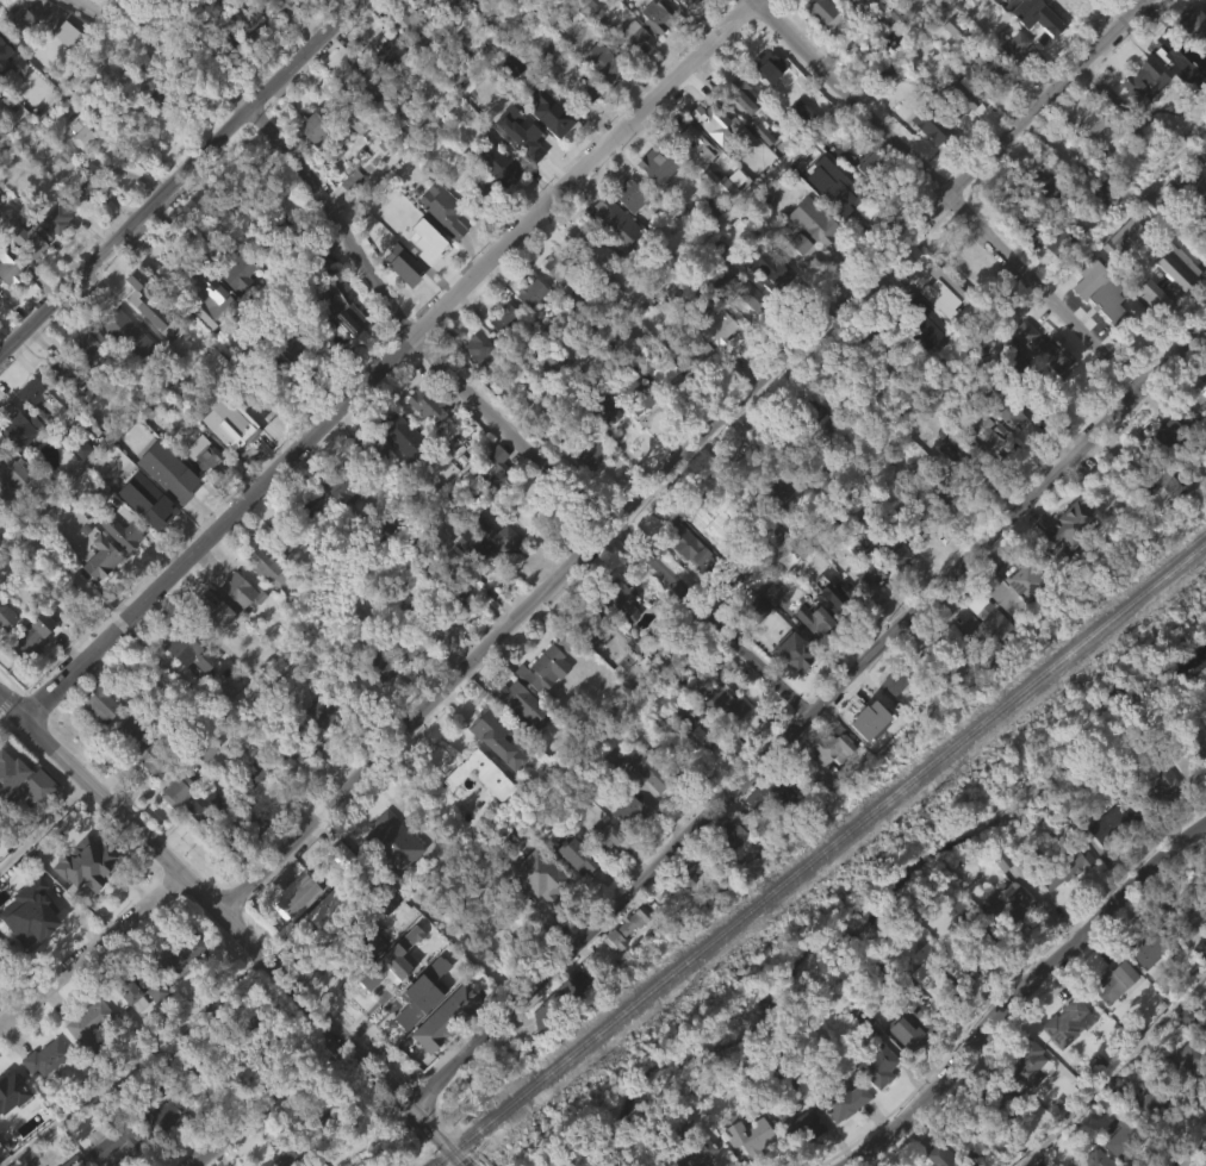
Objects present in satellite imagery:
building: (89, 4)
building: (689, 4)
building: (284, 5)
building: (1068, 5)
building: (445, 6)
building: (1083, 6)
building: (881, 7)
building: (300, 10)
building: (508, 13)
building: (658, 15)
building: (826, 15)
building: (248, 19)
building: (19, 20)
building: (477, 20)
building: (677, 20)
building: (1039, 21)
building: (848, 24)
building: (1193, 25)
building: (273, 29)
building: (417, 29)
building: (67, 33)
building: (436, 33)
building: (1059, 35)
building: (636, 36)
building: (230, 39)
building: (590, 48)
building: (1017, 49)
building: (4, 50)
building: (390, 50)
building: (820, 50)
building: (245, 54)
building: (653, 54)
building: (1033, 60)
building: (406, 62)
building: (604, 63)
building: (946, 64)
building: (769, 66)
building: (1189, 66)
building: (63, 71)
building: (989, 71)
building: (633, 73)
building: (224, 75)
building: (362, 80)
building: (1145, 80)
building: (1012, 82)
building: (158, 86)
building: (1, 87)
building: (385, 87)
building: (547, 92)
building: (586, 92)
building: (742, 94)
building: (962, 98)
building: (509, 101)
building: (763, 102)
building: (988, 107)
building: (548, 111)
building: (1140, 117)
building: (359, 118)
building: (715, 121)
building: (1088, 121)
building: (306, 125)
building: (934, 125)
building: (583, 130)
building: (739, 132)
building: (153, 135)
building: (955, 137)
building: (533, 144)
building: (696, 150)
building: (1084, 160)
building: (354, 161)
building: (714, 161)
building: (926, 161)
building: (652, 162)
building: (310, 167)
building: (872, 167)
building: (79, 169)
building: (504, 169)
road: (179, 174)
building: (1198, 177)
building: (1093, 185)
building: (694, 187)
building: (82, 189)
road: (949, 194)
building: (1053, 194)
building: (481, 195)
building: (632, 195)
building: (865, 201)
building: (845, 202)
building: (652, 204)
building: (501, 208)
building: (57, 217)
building: (347, 217)
building: (1089, 220)
building: (609, 222)
building: (79, 225)
building: (719, 225)
building: (812, 225)
building: (1196, 227)
building: (1032, 230)
building: (276, 236)
building: (33, 239)
building: (708, 242)
building: (584, 244)
building: (437, 245)
building: (1179, 250)
building: (424, 252)
building: (54, 254)
building: (610, 261)
building: (804, 262)
building: (10, 266)
building: (560, 267)
building: (392, 268)
building: (236, 272)
building: (1121, 274)
building: (29, 276)
building: (776, 278)
building: (1050, 278)
building: (585, 282)
building: (1164, 282)
building: (937, 289)
building: (741, 292)
building: (531, 293)
building: (213, 294)
building: (1169, 300)
building: (7, 304)
building: (554, 305)
building: (341, 306)
building: (236, 308)
building: (502, 317)
building: (910, 317)
building: (720, 325)
building: (738, 328)
building: (937, 328)
building: (1095, 328)
building: (119, 329)
building: (527, 329)
building: (1149, 333)
building: (883, 338)
building: (297, 339)
building: (209, 341)
building: (338, 342)
building: (88, 345)
building: (478, 347)
building: (697, 349)
building: (915, 350)
building: (259, 351)
building: (499, 354)
road: (436, 357)
road: (388, 361)
building: (658, 361)
building: (715, 362)
building: (1022, 369)
building: (123, 370)
building: (68, 375)
building: (291, 381)
building: (85, 382)
building: (474, 385)
building: (835, 387)
building: (694, 388)
building: (1201, 388)
building: (1051, 397)
building: (548, 398)
building: (638, 399)
building: (41, 400)
building: (428, 406)
building: (658, 407)
building: (62, 410)
building: (602, 410)
building: (1011, 412)
building: (806, 413)
building: (229, 425)
building: (19, 428)
building: (1195, 429)
building: (394, 430)
building: (634, 435)
building: (984, 435)
building: (39, 438)
building: (422, 442)
building: (809, 447)
building: (602, 449)
building: (371, 450)
building: (1000, 450)
building: (586, 451)
building: (205, 453)
building: (1, 454)
building: (961, 455)
road: (684, 459)
building: (135, 464)
building: (498, 466)
building: (1168, 466)
building: (982, 470)
building: (398, 473)
building: (15, 474)
building: (181, 481)
building: (154, 482)
building: (75, 484)
building: (341, 485)
building: (949, 486)
building: (368, 490)
building: (777, 490)
building: (200, 491)
building: (582, 491)
building: (0, 493)
building: (310, 504)
building: (493, 505)
building: (155, 507)
building: (12, 510)
building: (178, 517)
building: (916, 518)
building: (1067, 525)
building: (1158, 525)
building: (338, 526)
building: (777, 529)
building: (125, 532)
building: (495, 535)
building: (688, 540)
building: (888, 543)
building: (296, 547)
building: (465, 549)
building: (101, 557)
building: (825, 559)
building: (1065, 563)
building: (118, 568)
building: (872, 569)
building: (272, 570)
building: (492, 574)
building: (456, 575)
building: (1018, 580)
building: (683, 581)
building: (241, 588)
building: (475, 590)
building: (456, 591)
building: (97, 594)
building: (839, 594)
building: (624, 597)
building: (263, 604)
building: (863, 609)
power tower: (1168, 610)
building: (209, 613)
building: (429, 616)
building: (5, 617)
building: (816, 619)
building: (590, 622)
building: (1012, 624)
building: (236, 626)
building: (767, 630)
building: (452, 631)
building: (31, 634)
building: (617, 638)
building: (405, 640)
building: (752, 646)
building: (189, 649)
building: (788, 651)
building: (5, 655)
building: (980, 662)
building: (377, 665)
building: (545, 667)
building: (29, 671)
building: (899, 676)
building: (402, 680)
building: (186, 687)
building: (790, 690)
building: (101, 700)
building: (522, 700)
building: (373, 702)
building: (539, 706)
building: (727, 706)
building: (950, 707)
road: (11, 709)
building: (321, 715)
building: (891, 717)
road: (808, 719)
building: (862, 721)
building: (491, 722)
building: (698, 727)
building: (130, 730)
building: (97, 740)
building: (721, 741)
building: (293, 742)
building: (518, 742)
building: (316, 747)
building: (827, 748)
building: (154, 755)
building: (1189, 755)
building: (865, 757)
building: (437, 759)
building: (126, 765)
building: (649, 769)
building: (689, 769)
building: (477, 775)
building: (1162, 786)
building: (179, 787)
building: (201, 787)
building: (826, 787)
building: (144, 793)
building: (610, 793)
building: (436, 796)
building: (766, 796)
building: (1182, 802)
building: (206, 805)
building: (644, 808)
building: (250, 810)
building: (627, 810)
building: (477, 811)
power tower: (914, 815)
building: (20, 818)
building: (1157, 822)
building: (1113, 823)
road: (42, 824)
building: (174, 824)
building: (383, 830)
building: (760, 831)
building: (725, 834)
building: (605, 836)
building: (201, 842)
building: (623, 847)
railway: (819, 853)
building: (577, 855)
building: (244, 860)
building: (1107, 860)
building: (88, 862)
building: (1068, 863)
building: (695, 865)
building: (377, 867)
building: (727, 868)
building: (601, 873)
building: (554, 887)
building: (335, 891)
building: (572, 892)
building: (82, 899)
building: (1009, 904)
building: (1059, 905)
building: (685, 908)
building: (1193, 912)
building: (33, 914)
building: (537, 916)
building: (635, 923)
building: (292, 933)
building: (383, 940)
road: (243, 941)
building: (1003, 941)
building: (976, 943)
building: (365, 944)
building: (1154, 944)
building: (325, 948)
building: (179, 952)
building: (0, 954)
road: (93, 955)
building: (1187, 956)
building: (0, 961)
building: (623, 964)
building: (935, 972)
building: (362, 978)
building: (1117, 981)
building: (147, 985)
building: (1140, 987)
building: (1198, 987)
building: (179, 990)
road: (1024, 991)
building: (390, 997)
building: (1111, 1018)
building: (1063, 1021)
building: (914, 1024)
building: (88, 1025)
power tower: (651, 1025)
building: (138, 1027)
building: (419, 1028)
building: (260, 1037)
building: (548, 1041)
building: (441, 1054)
building: (45, 1060)
building: (85, 1060)
building: (1061, 1060)
building: (1187, 1062)
building: (1028, 1064)
building: (878, 1065)
building: (903, 1071)
road: (1113, 1072)
building: (209, 1077)
building: (43, 1093)
building: (8, 1095)
building: (839, 1097)
building: (1181, 1097)
building: (1022, 1099)
building: (1155, 1099)
building: (874, 1102)
road: (271, 1104)
building: (1003, 1104)
building: (162, 1112)
building: (329, 1123)
building: (194, 1124)
building: (8, 1126)
building: (801, 1127)
building: (744, 1134)
building: (841, 1136)
building: (969, 1137)
building: (1126, 1139)
building: (1144, 1140)
building: (112, 1143)
building: (695, 1149)
building: (161, 1151)
road: (1195, 1154)
building: (941, 1156)
building: (284, 1159)
building: (798, 1159)
building: (1096, 1159)
building: (752, 1160)
building: (74, 1161)
building: (1118, 1161)
building: (117, 1162)

